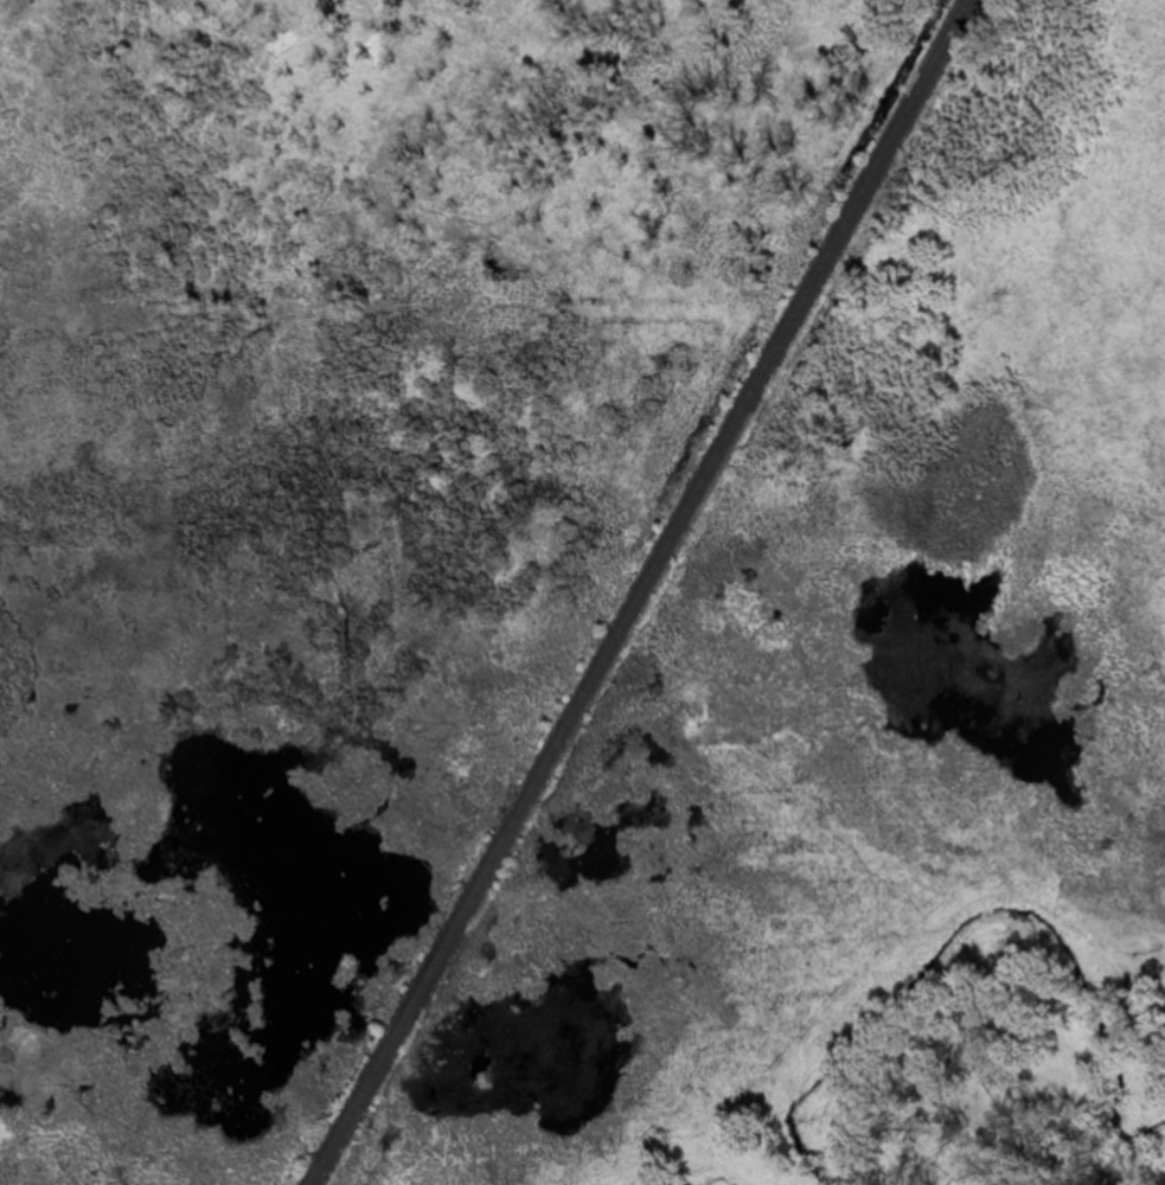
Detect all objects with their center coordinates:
railway: (635, 592)
river: (973, 959)

